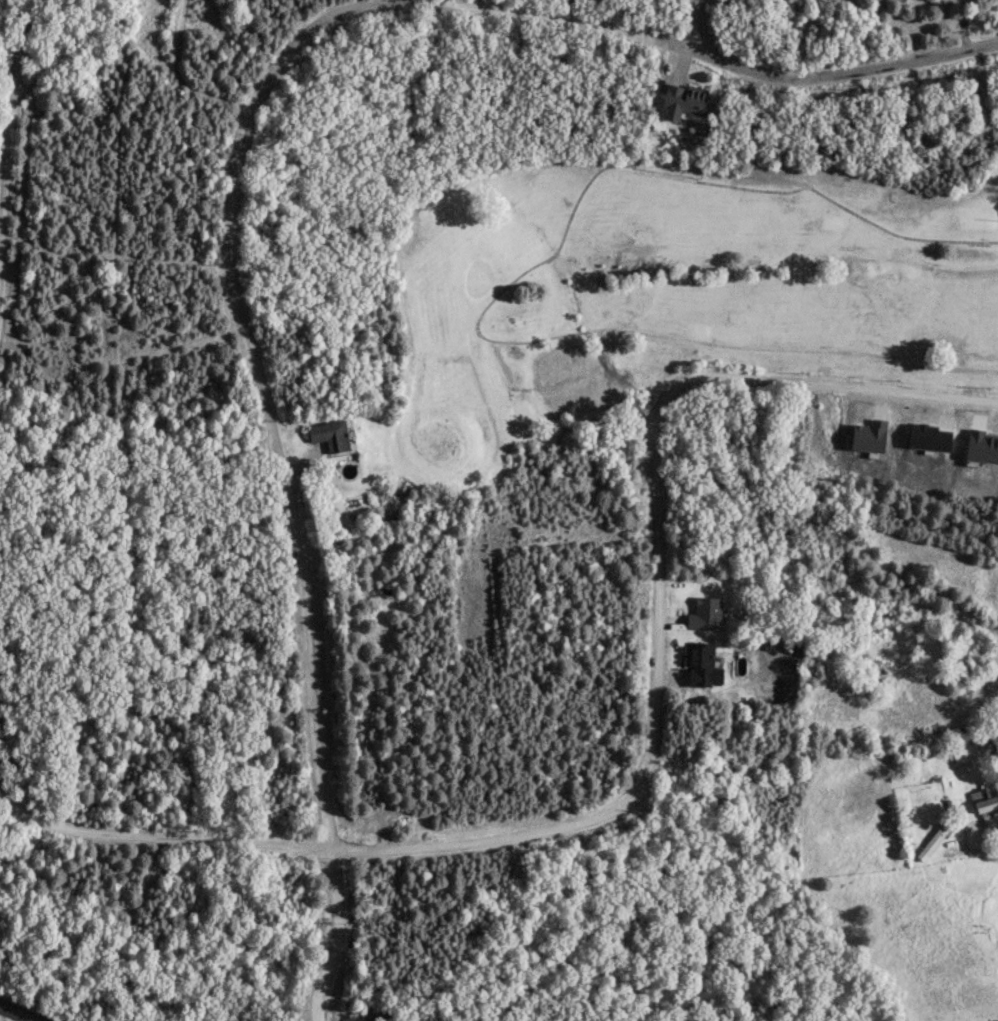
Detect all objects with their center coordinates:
road: (692, 21)
road: (713, 52)
building: (685, 102)
road: (11, 116)
road: (259, 390)
building: (331, 434)
building: (701, 665)
road: (652, 756)
building: (985, 800)
road: (959, 838)
building: (932, 841)
road: (335, 936)
road: (18, 1012)

